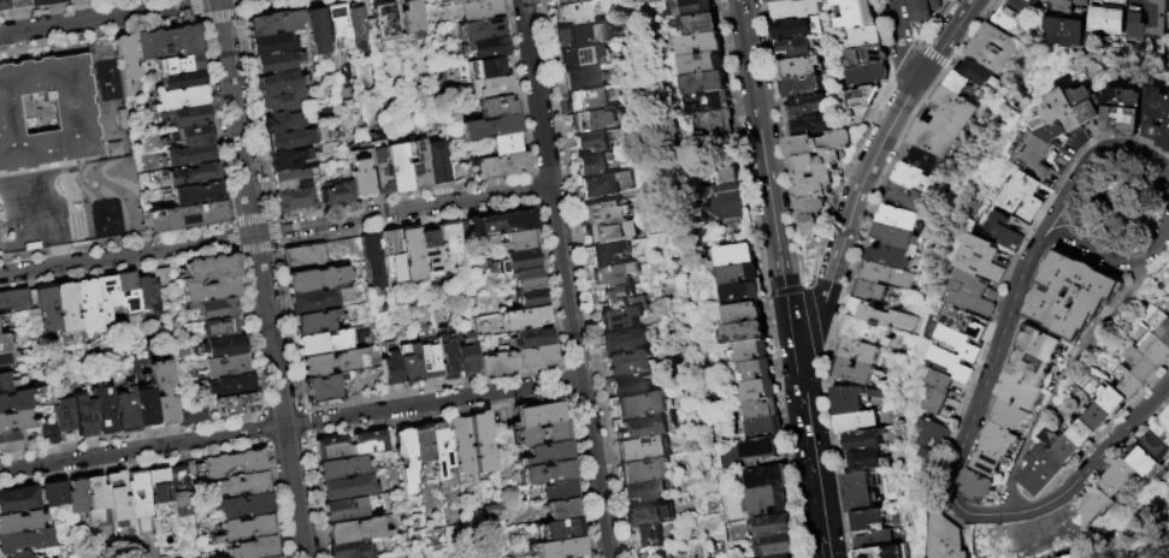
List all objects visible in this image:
building: (774, 0)
building: (54, 1)
building: (450, 1)
building: (565, 1)
building: (651, 1)
building: (34, 2)
building: (4, 4)
road: (236, 4)
building: (16, 5)
road: (273, 5)
road: (48, 7)
road: (191, 7)
building: (691, 7)
building: (795, 8)
building: (476, 10)
building: (923, 11)
road: (236, 12)
building: (572, 12)
building: (856, 14)
building: (1012, 14)
building: (1110, 16)
road: (107, 17)
road: (216, 17)
building: (412, 18)
building: (1159, 18)
building: (1140, 19)
road: (196, 20)
building: (274, 23)
building: (701, 23)
building: (1068, 23)
building: (356, 25)
building: (337, 28)
building: (386, 28)
building: (796, 28)
building: (478, 30)
building: (318, 31)
road: (98, 34)
building: (584, 34)
building: (867, 37)
road: (946, 37)
road: (886, 40)
road: (901, 41)
building: (167, 42)
road: (921, 42)
building: (702, 43)
building: (272, 44)
building: (793, 47)
building: (482, 48)
building: (994, 48)
road: (931, 53)
building: (581, 55)
building: (868, 57)
building: (126, 60)
road: (904, 61)
building: (276, 63)
building: (702, 63)
building: (179, 64)
road: (945, 66)
building: (798, 67)
building: (478, 69)
building: (980, 73)
building: (868, 76)
building: (182, 79)
building: (579, 79)
building: (279, 82)
building: (707, 82)
building: (960, 83)
building: (488, 85)
building: (799, 87)
building: (860, 96)
building: (181, 99)
building: (282, 100)
building: (585, 100)
building: (710, 101)
building: (808, 105)
building: (1092, 105)
building: (491, 106)
building: (1069, 109)
building: (73, 111)
building: (1132, 111)
building: (1162, 113)
building: (857, 114)
building: (188, 115)
building: (596, 119)
building: (281, 121)
building: (813, 124)
building: (946, 124)
building: (486, 126)
building: (1052, 127)
building: (718, 130)
building: (191, 136)
building: (289, 139)
building: (596, 139)
building: (502, 143)
road: (744, 143)
building: (820, 143)
building: (1037, 154)
building: (189, 155)
building: (922, 159)
building: (288, 160)
building: (437, 162)
building: (592, 162)
building: (378, 164)
building: (417, 164)
road: (766, 164)
building: (494, 165)
building: (397, 168)
building: (359, 171)
building: (193, 174)
building: (730, 176)
building: (291, 179)
building: (919, 180)
building: (604, 184)
building: (815, 185)
building: (337, 192)
building: (196, 194)
building: (1028, 196)
road: (385, 197)
building: (907, 197)
building: (294, 200)
park: (1129, 202)
building: (716, 203)
road: (1074, 203)
road: (854, 207)
building: (604, 213)
road: (1063, 213)
road: (266, 214)
road: (1133, 215)
building: (185, 216)
road: (247, 218)
road: (272, 218)
building: (897, 218)
building: (500, 224)
road: (216, 226)
road: (1167, 226)
building: (1008, 228)
road: (1138, 228)
road: (273, 230)
road: (274, 230)
building: (461, 231)
building: (610, 232)
building: (896, 236)
road: (1067, 236)
road: (228, 237)
building: (518, 242)
road: (276, 243)
building: (449, 244)
building: (390, 245)
building: (430, 245)
road: (272, 249)
road: (254, 250)
road: (236, 251)
building: (607, 253)
building: (411, 254)
road: (1022, 254)
building: (731, 255)
road: (796, 256)
building: (890, 257)
building: (303, 259)
building: (987, 259)
building: (373, 260)
building: (515, 261)
road: (855, 263)
building: (205, 268)
building: (739, 272)
building: (887, 274)
building: (612, 275)
building: (163, 277)
road: (260, 278)
building: (315, 279)
building: (525, 279)
road: (565, 279)
road: (579, 279)
road: (785, 286)
road: (548, 289)
building: (208, 290)
building: (870, 291)
building: (742, 292)
building: (128, 293)
building: (147, 293)
building: (978, 293)
building: (1081, 295)
building: (106, 296)
building: (527, 298)
building: (30, 299)
building: (619, 299)
building: (13, 301)
building: (317, 301)
building: (1168, 304)
building: (66, 308)
building: (87, 308)
building: (209, 308)
building: (46, 313)
building: (745, 313)
building: (879, 314)
building: (522, 317)
building: (619, 317)
building: (0, 320)
road: (284, 320)
building: (967, 320)
building: (313, 322)
road: (813, 323)
building: (220, 326)
building: (867, 331)
building: (1164, 332)
building: (745, 333)
road: (1022, 333)
building: (530, 338)
building: (621, 340)
building: (320, 343)
building: (963, 343)
building: (4, 345)
road: (249, 345)
building: (224, 348)
building: (1157, 349)
building: (749, 351)
building: (858, 351)
road: (1005, 351)
building: (447, 354)
building: (466, 354)
building: (1041, 354)
building: (5, 360)
building: (515, 361)
building: (427, 362)
building: (627, 362)
building: (330, 363)
building: (408, 363)
building: (956, 364)
building: (1144, 364)
building: (226, 367)
building: (390, 368)
building: (756, 370)
building: (852, 370)
road: (1069, 380)
building: (1129, 380)
building: (4, 384)
building: (230, 385)
building: (627, 385)
building: (324, 388)
building: (758, 390)
building: (1026, 390)
building: (944, 392)
building: (164, 393)
building: (852, 399)
building: (1115, 399)
building: (16, 400)
road: (515, 400)
building: (236, 404)
building: (637, 404)
building: (144, 408)
road: (301, 408)
building: (762, 409)
building: (104, 410)
road: (281, 410)
building: (1168, 410)
road: (261, 411)
building: (125, 412)
building: (191, 412)
building: (1016, 412)
building: (537, 414)
building: (64, 416)
road: (259, 416)
building: (1102, 416)
building: (84, 417)
building: (17, 422)
road: (303, 422)
road: (786, 422)
building: (856, 422)
road: (289, 425)
building: (1163, 425)
building: (642, 427)
building: (766, 427)
road: (259, 428)
road: (1106, 431)
building: (1086, 432)
building: (939, 433)
building: (48, 435)
building: (541, 435)
road: (306, 438)
building: (1005, 438)
building: (864, 439)
road: (261, 440)
road: (284, 441)
building: (480, 441)
building: (11, 443)
building: (367, 443)
road: (810, 443)
road: (267, 444)
building: (423, 444)
building: (1158, 444)
building: (462, 445)
building: (1067, 445)
building: (331, 449)
building: (442, 449)
building: (640, 449)
building: (761, 449)
road: (189, 453)
building: (547, 453)
building: (933, 453)
road: (958, 455)
building: (406, 459)
building: (869, 459)
road: (957, 459)
building: (993, 461)
building: (1149, 461)
building: (235, 464)
building: (194, 467)
building: (342, 468)
building: (1047, 469)
building: (642, 470)
building: (548, 473)
building: (768, 475)
building: (1124, 476)
building: (241, 485)
building: (986, 485)
building: (348, 487)
building: (178, 488)
building: (645, 489)
building: (560, 491)
building: (159, 492)
building: (858, 492)
building: (54, 493)
building: (77, 497)
road: (1068, 497)
building: (18, 499)
building: (140, 499)
road: (313, 499)
building: (767, 501)
road: (1023, 501)
building: (99, 503)
building: (119, 505)
building: (243, 505)
building: (1104, 506)
building: (562, 507)
building: (343, 510)
building: (647, 515)
building: (868, 520)
building: (22, 522)
building: (772, 526)
building: (559, 528)
building: (243, 530)
building: (355, 530)
building: (643, 535)
building: (946, 535)
building: (875, 539)
building: (25, 540)
building: (963, 540)
building: (775, 545)
building: (256, 547)
building: (559, 548)
building: (352, 550)
building: (885, 552)
building: (642, 553)
building: (1084, 553)
building: (20, 554)
building: (778, 556)
building: (273, 557)
building: (1070, 557)

